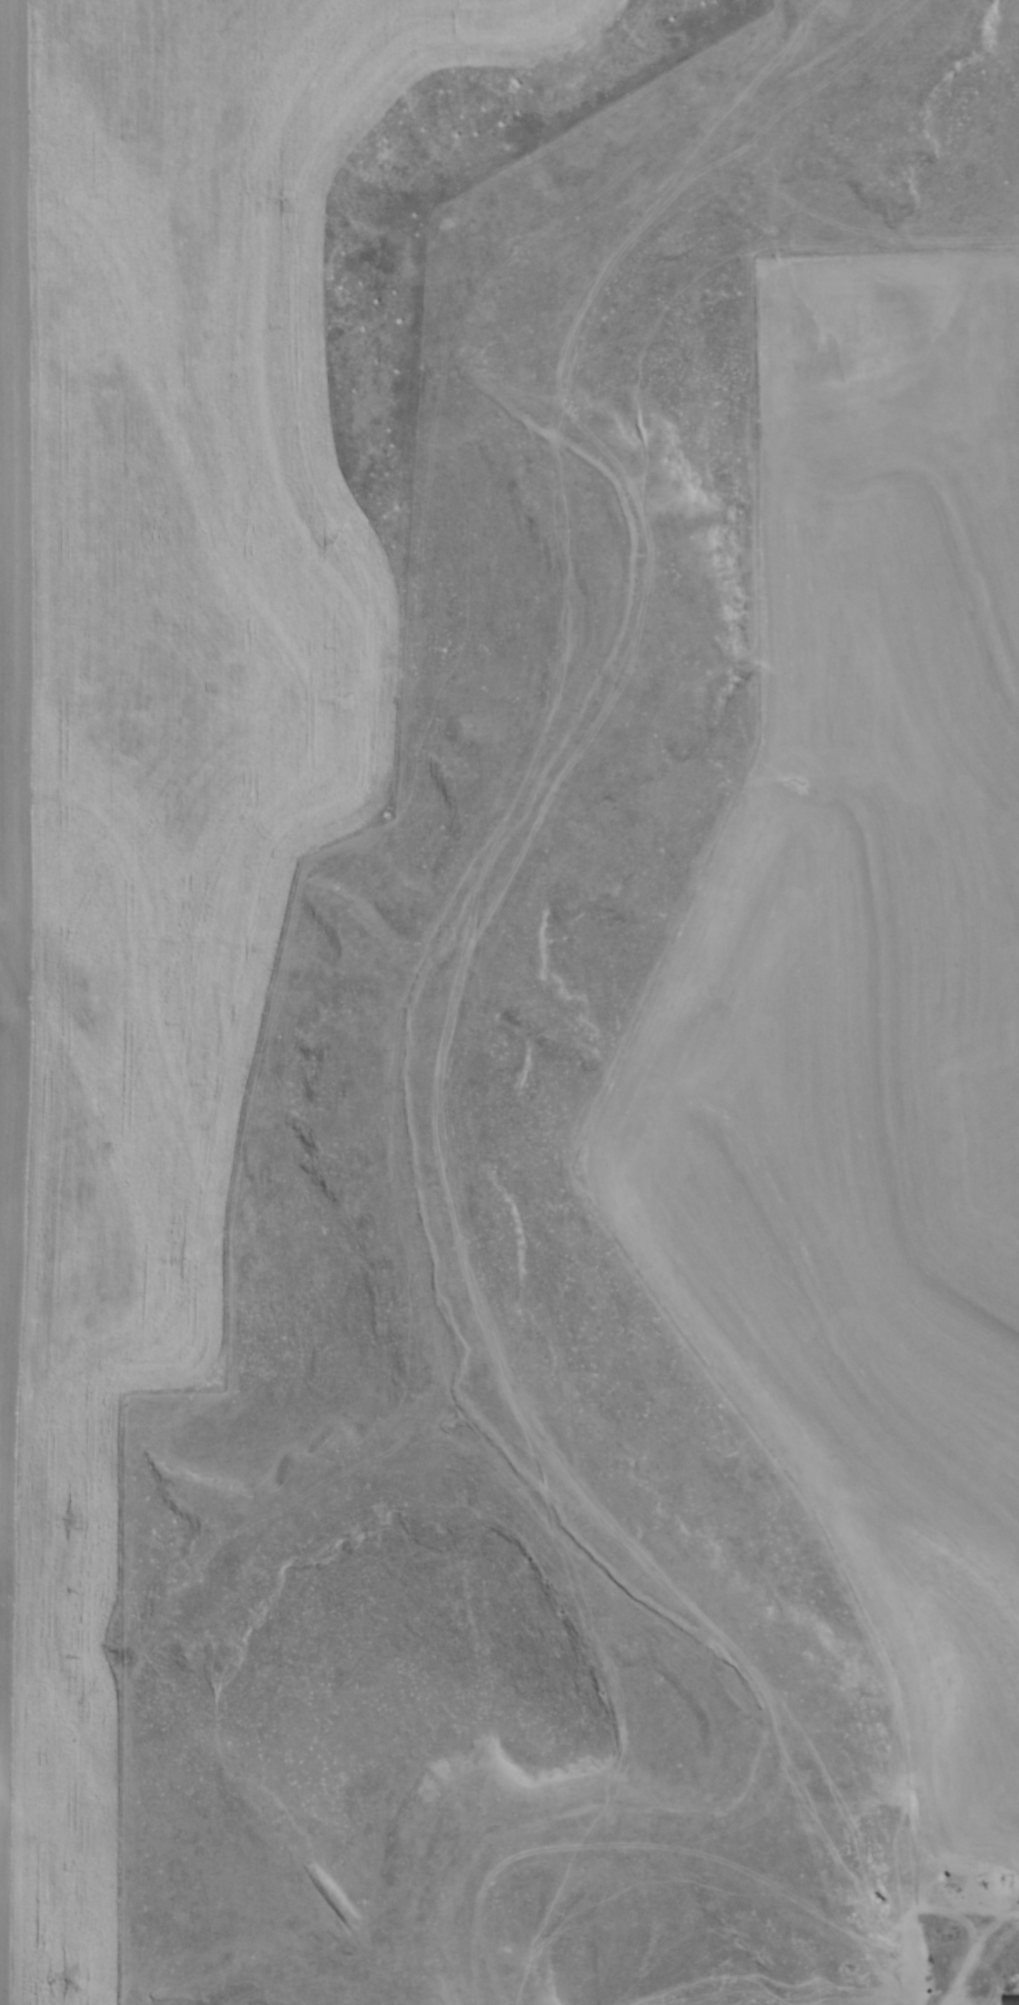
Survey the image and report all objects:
building: (1007, 2000)

